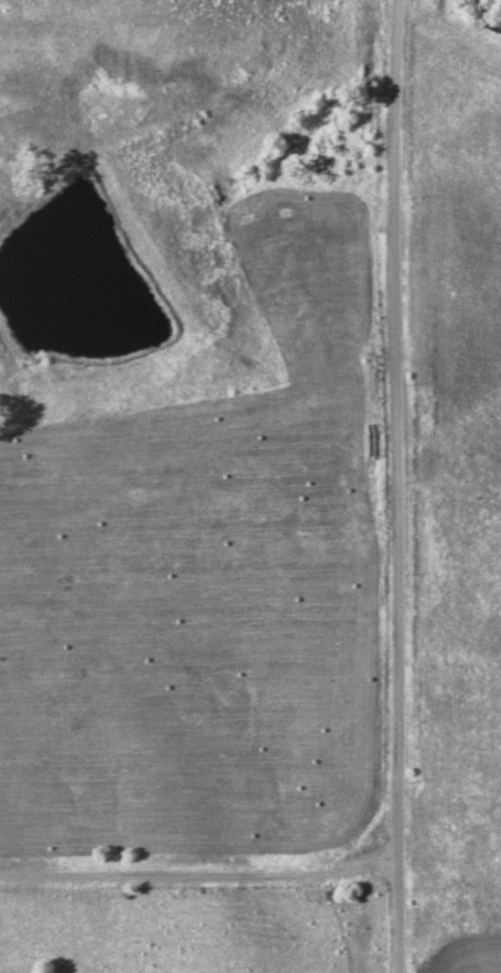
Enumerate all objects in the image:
road: (398, 486)
road: (200, 876)

